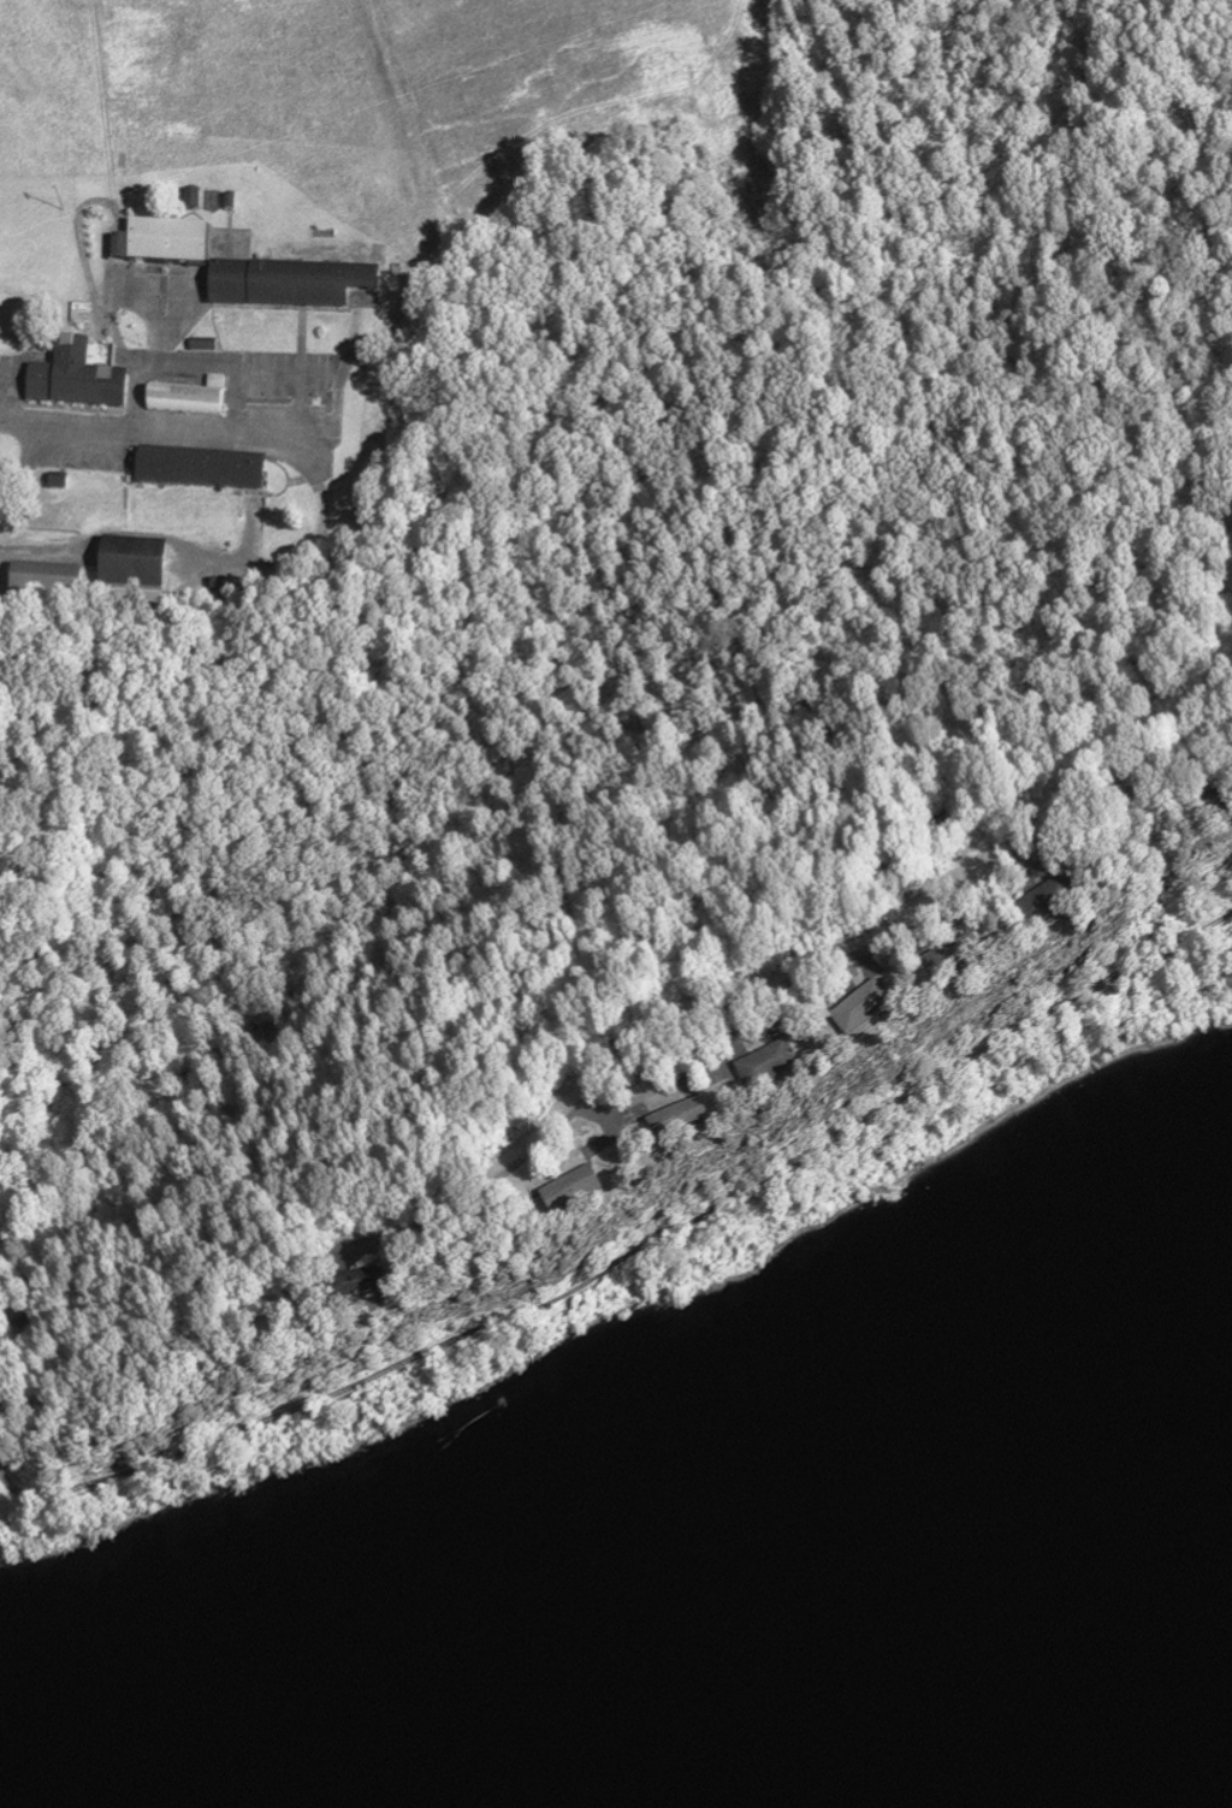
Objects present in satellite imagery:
road: (85, 208)
building: (171, 243)
building: (122, 249)
building: (292, 285)
road: (114, 330)
road: (155, 348)
road: (248, 363)
building: (88, 378)
building: (42, 384)
building: (192, 399)
road: (298, 409)
road: (28, 463)
building: (203, 470)
road: (286, 490)
road: (324, 512)
road: (250, 532)
building: (136, 564)
building: (48, 585)
building: (249, 593)
building: (220, 594)
building: (1062, 908)
building: (970, 961)
road: (373, 988)
road: (774, 990)
building: (877, 1014)
building: (781, 1069)
building: (694, 1126)
building: (586, 1198)
building: (368, 1296)

